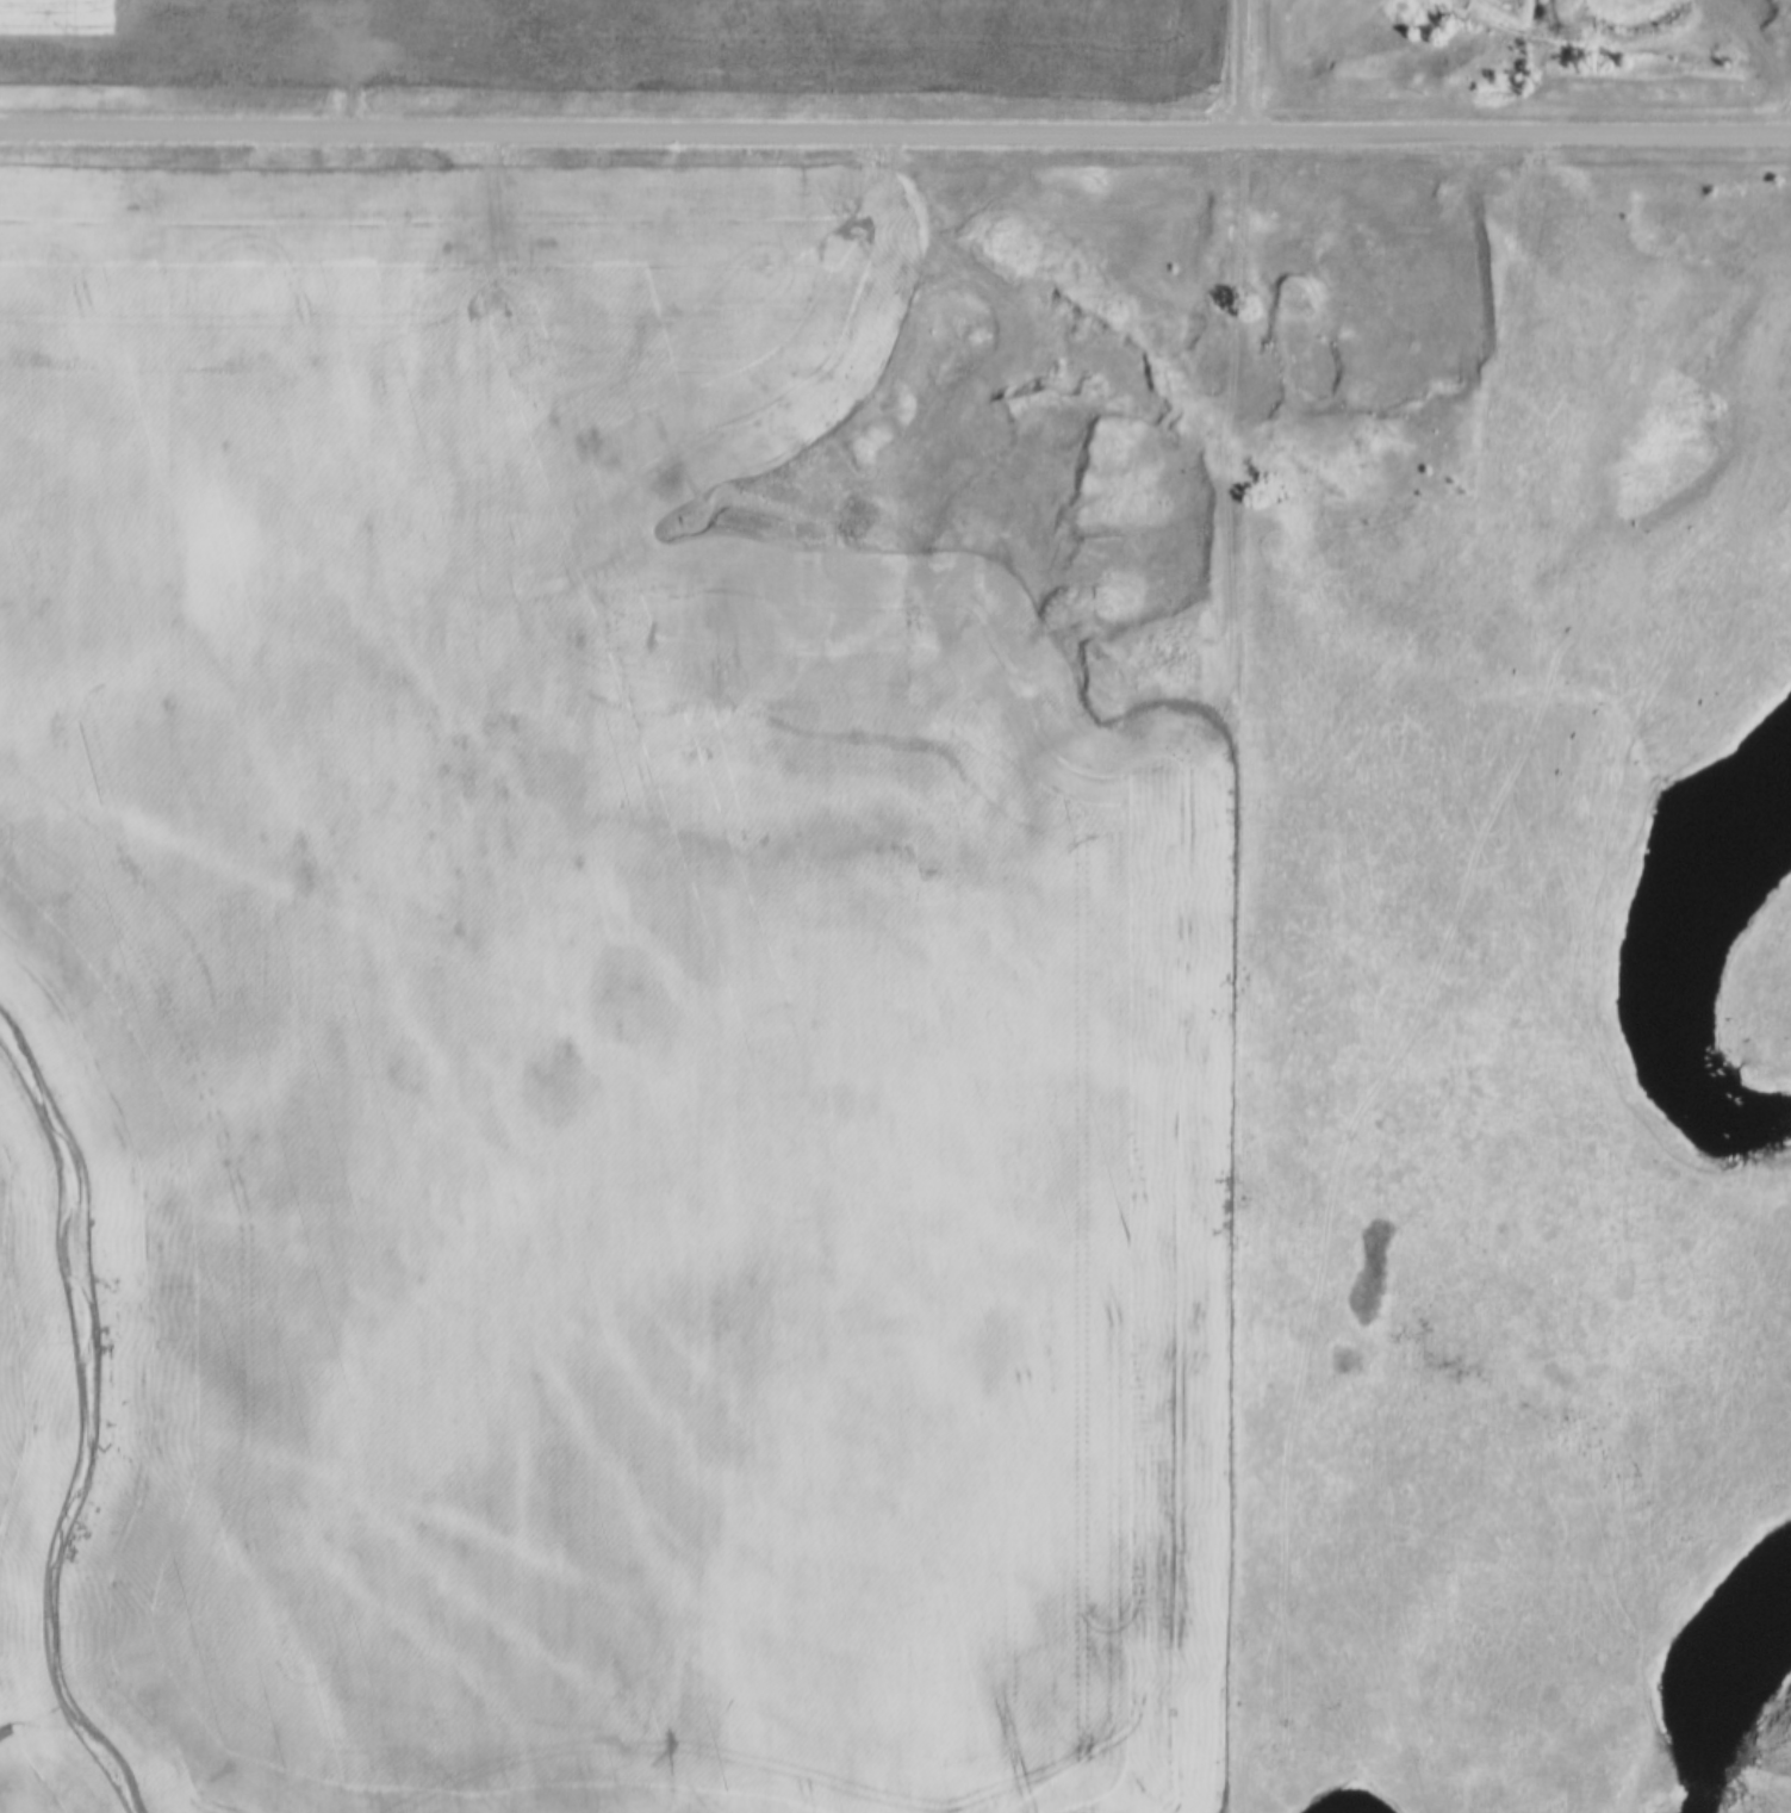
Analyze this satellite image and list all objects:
quarry: (1610, 32)
road: (1245, 64)
road: (1773, 104)
road: (895, 131)
road: (976, 404)
river: (1648, 971)
river: (1712, 1689)
river: (1337, 1807)

